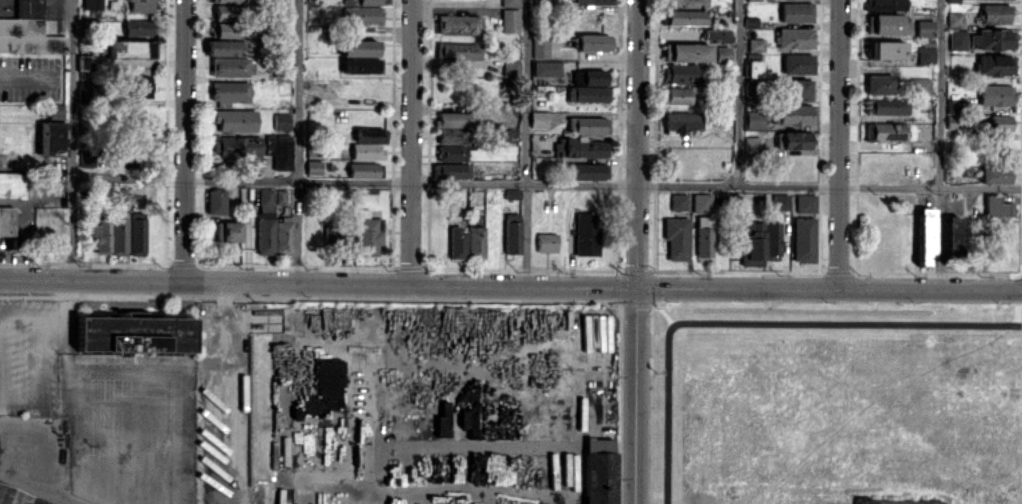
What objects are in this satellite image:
building: (752, 0)
building: (230, 1)
building: (591, 1)
building: (953, 1)
building: (363, 2)
building: (509, 2)
building: (686, 2)
building: (92, 4)
building: (885, 4)
building: (142, 5)
building: (229, 11)
building: (796, 12)
building: (994, 13)
building: (362, 15)
building: (683, 17)
building: (954, 19)
building: (509, 20)
building: (886, 23)
building: (458, 24)
building: (138, 27)
building: (925, 27)
building: (222, 29)
building: (28, 31)
building: (795, 37)
building: (993, 38)
building: (958, 40)
building: (592, 42)
building: (719, 42)
building: (756, 44)
building: (539, 46)
building: (225, 47)
building: (359, 47)
building: (129, 48)
building: (886, 50)
building: (458, 51)
building: (686, 52)
building: (926, 52)
building: (84, 61)
building: (797, 63)
building: (995, 64)
building: (361, 65)
building: (754, 65)
building: (231, 66)
building: (510, 68)
building: (546, 69)
building: (280, 72)
building: (679, 73)
building: (588, 77)
building: (879, 84)
building: (920, 86)
building: (142, 87)
building: (798, 89)
building: (229, 91)
building: (85, 92)
road: (736, 92)
building: (588, 93)
building: (675, 95)
building: (996, 95)
building: (888, 106)
building: (56, 109)
building: (953, 113)
building: (791, 114)
building: (538, 119)
building: (754, 119)
building: (235, 120)
building: (281, 120)
building: (679, 122)
building: (587, 125)
building: (451, 127)
building: (887, 131)
building: (54, 134)
building: (509, 134)
road: (68, 139)
building: (794, 139)
road: (184, 141)
road: (296, 142)
building: (368, 143)
road: (413, 143)
road: (526, 144)
road: (939, 144)
road: (637, 145)
building: (751, 145)
road: (840, 145)
building: (235, 146)
building: (279, 150)
building: (451, 153)
building: (86, 157)
building: (313, 167)
building: (363, 169)
building: (452, 170)
building: (589, 171)
building: (995, 174)
road: (544, 183)
building: (12, 184)
building: (118, 195)
building: (280, 196)
building: (678, 201)
building: (779, 201)
building: (215, 202)
building: (701, 202)
building: (805, 202)
building: (997, 206)
building: (6, 220)
building: (271, 227)
building: (227, 231)
building: (331, 231)
building: (110, 232)
building: (136, 233)
building: (512, 234)
building: (586, 234)
building: (367, 235)
building: (925, 235)
building: (704, 236)
building: (951, 236)
building: (676, 238)
building: (803, 239)
building: (475, 241)
building: (457, 242)
building: (546, 242)
building: (758, 242)
road: (317, 284)
traffic signals: (636, 290)
road: (829, 290)
building: (133, 333)
road: (227, 393)
road: (84, 394)
road: (636, 397)
road: (0, 408)
building: (599, 471)
building: (15, 498)
building: (892, 502)

